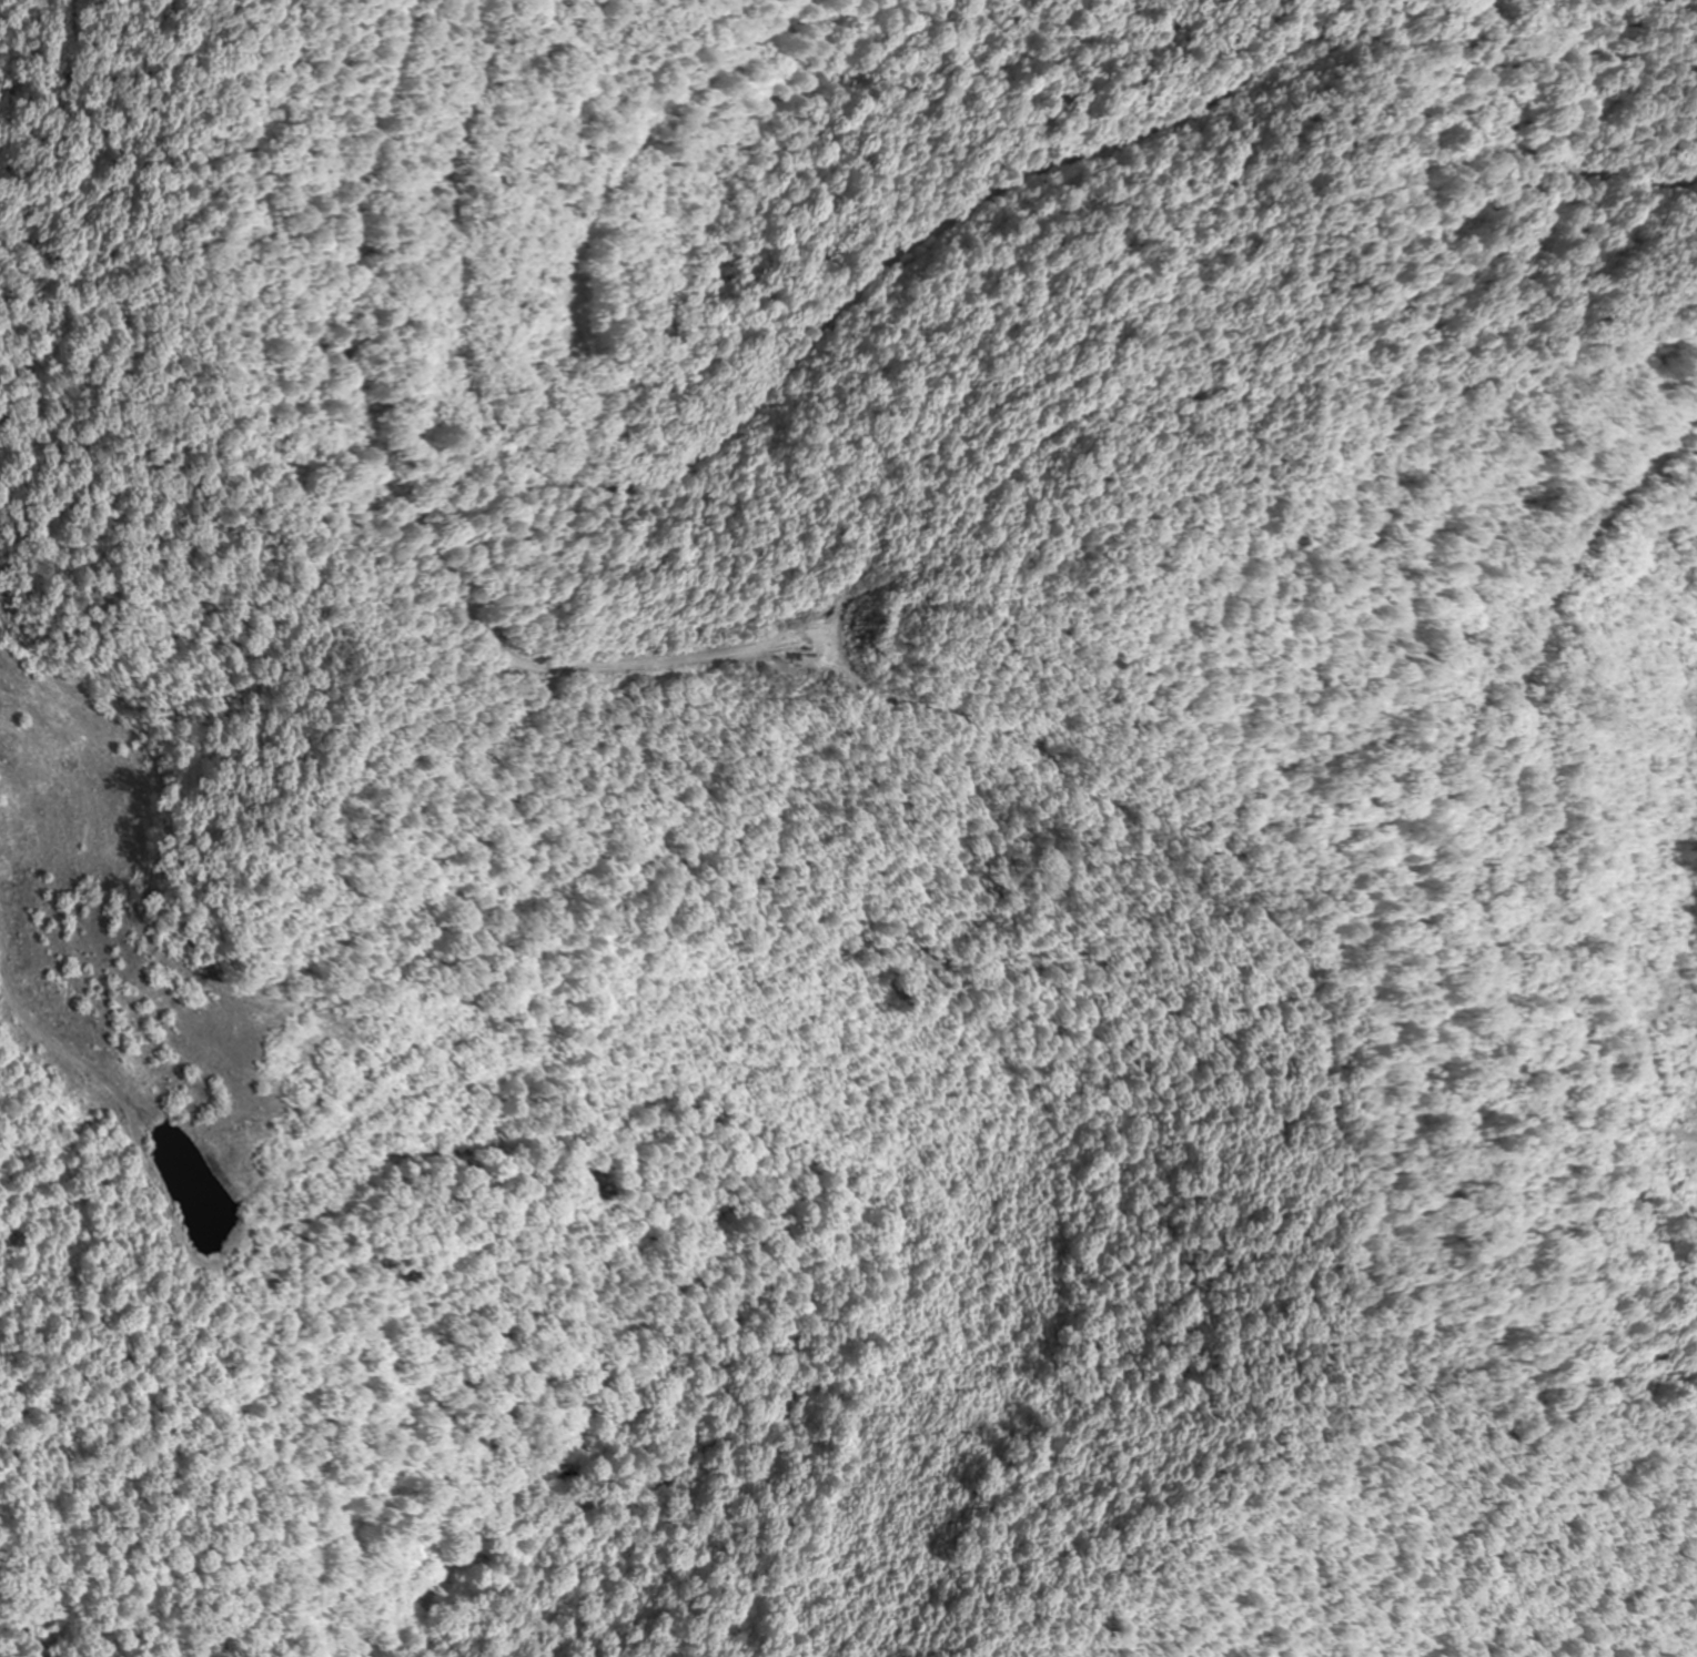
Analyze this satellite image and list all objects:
road: (79, 1530)

